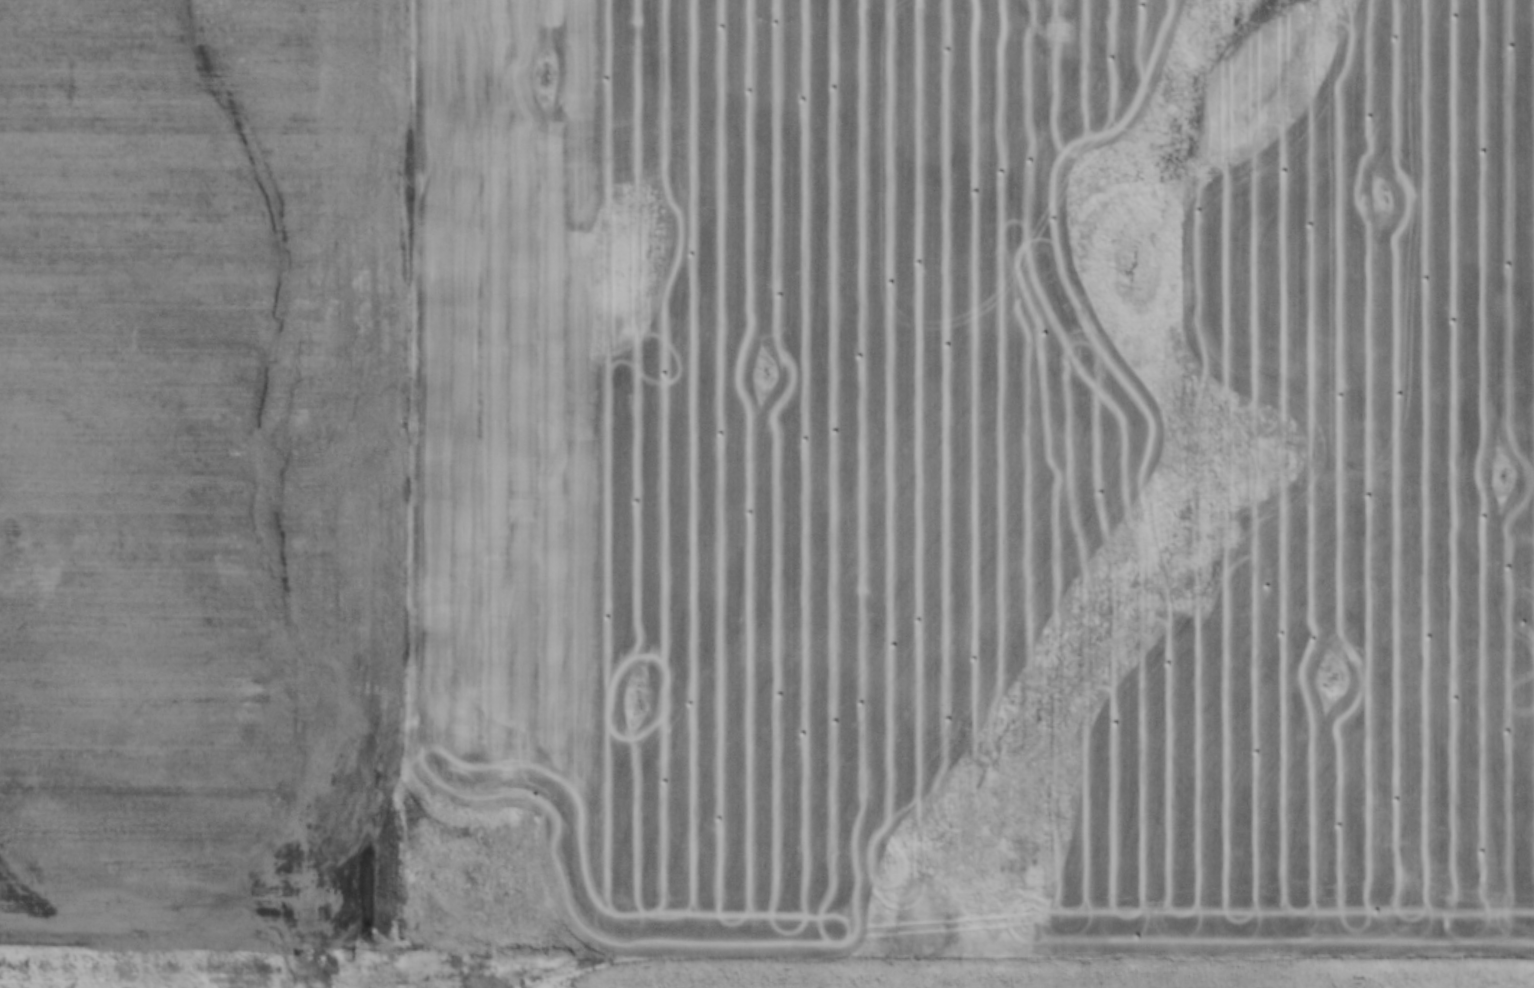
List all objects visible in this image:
road: (422, 495)
road: (766, 957)

